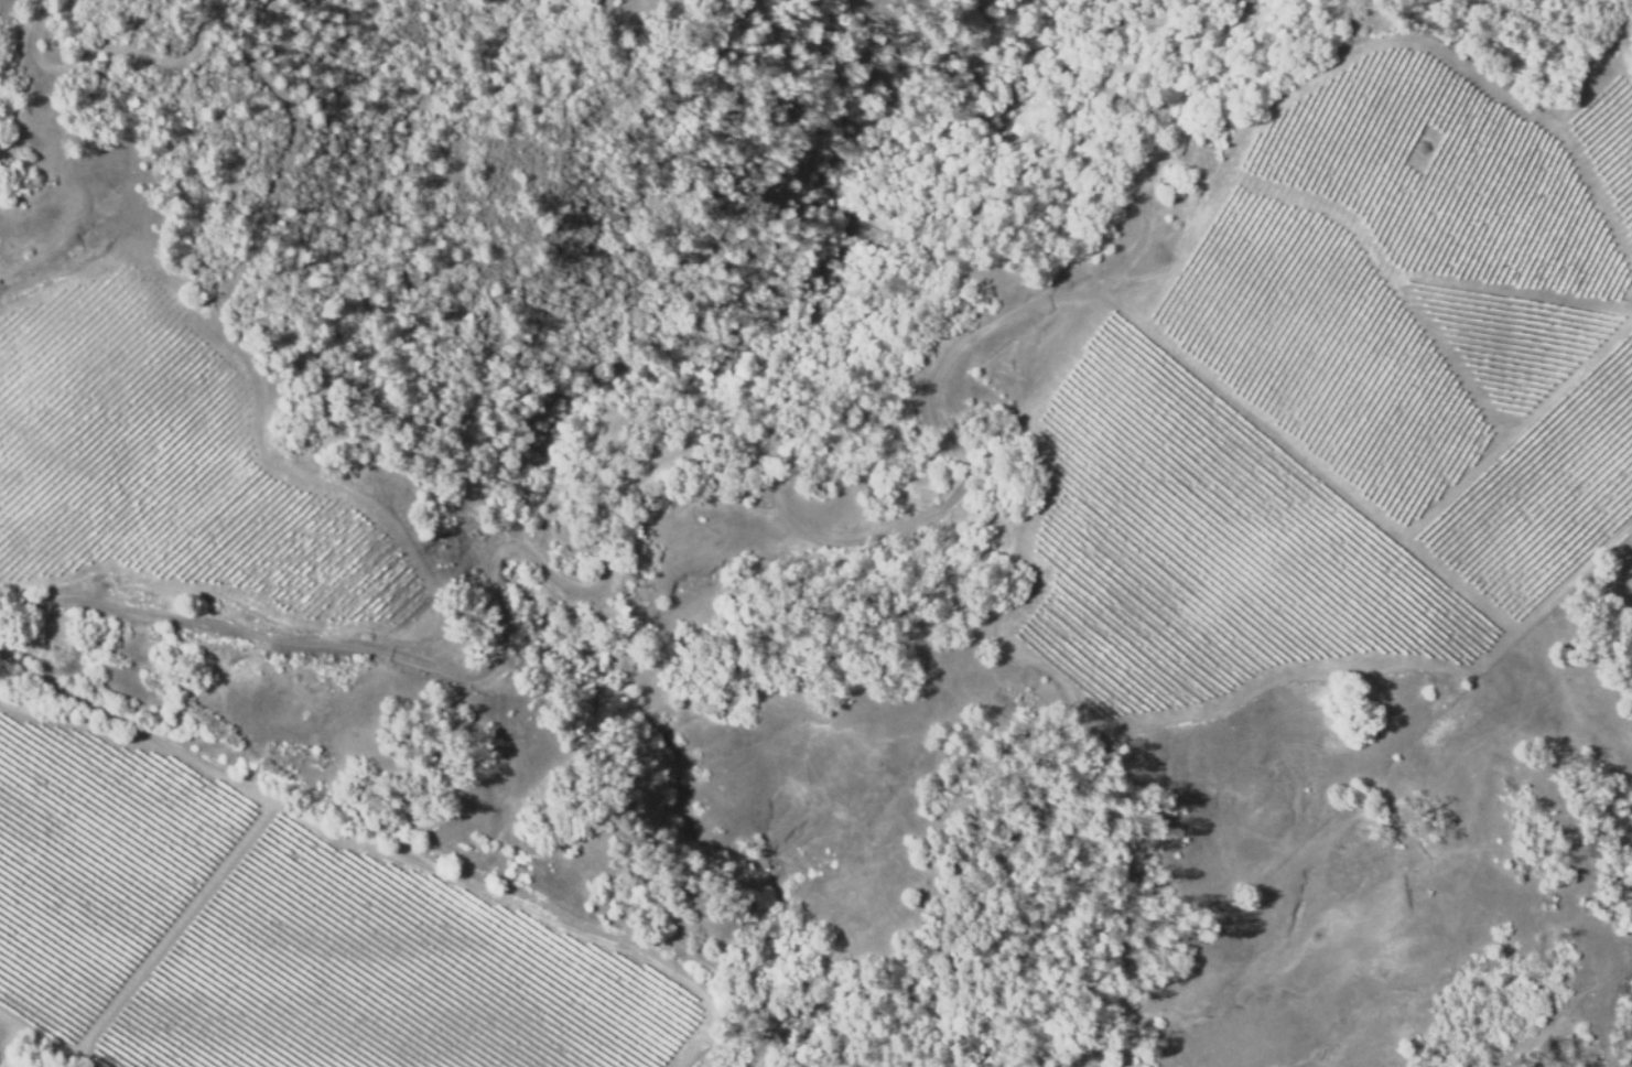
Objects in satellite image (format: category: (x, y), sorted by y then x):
road: (161, 43)
road: (841, 525)

